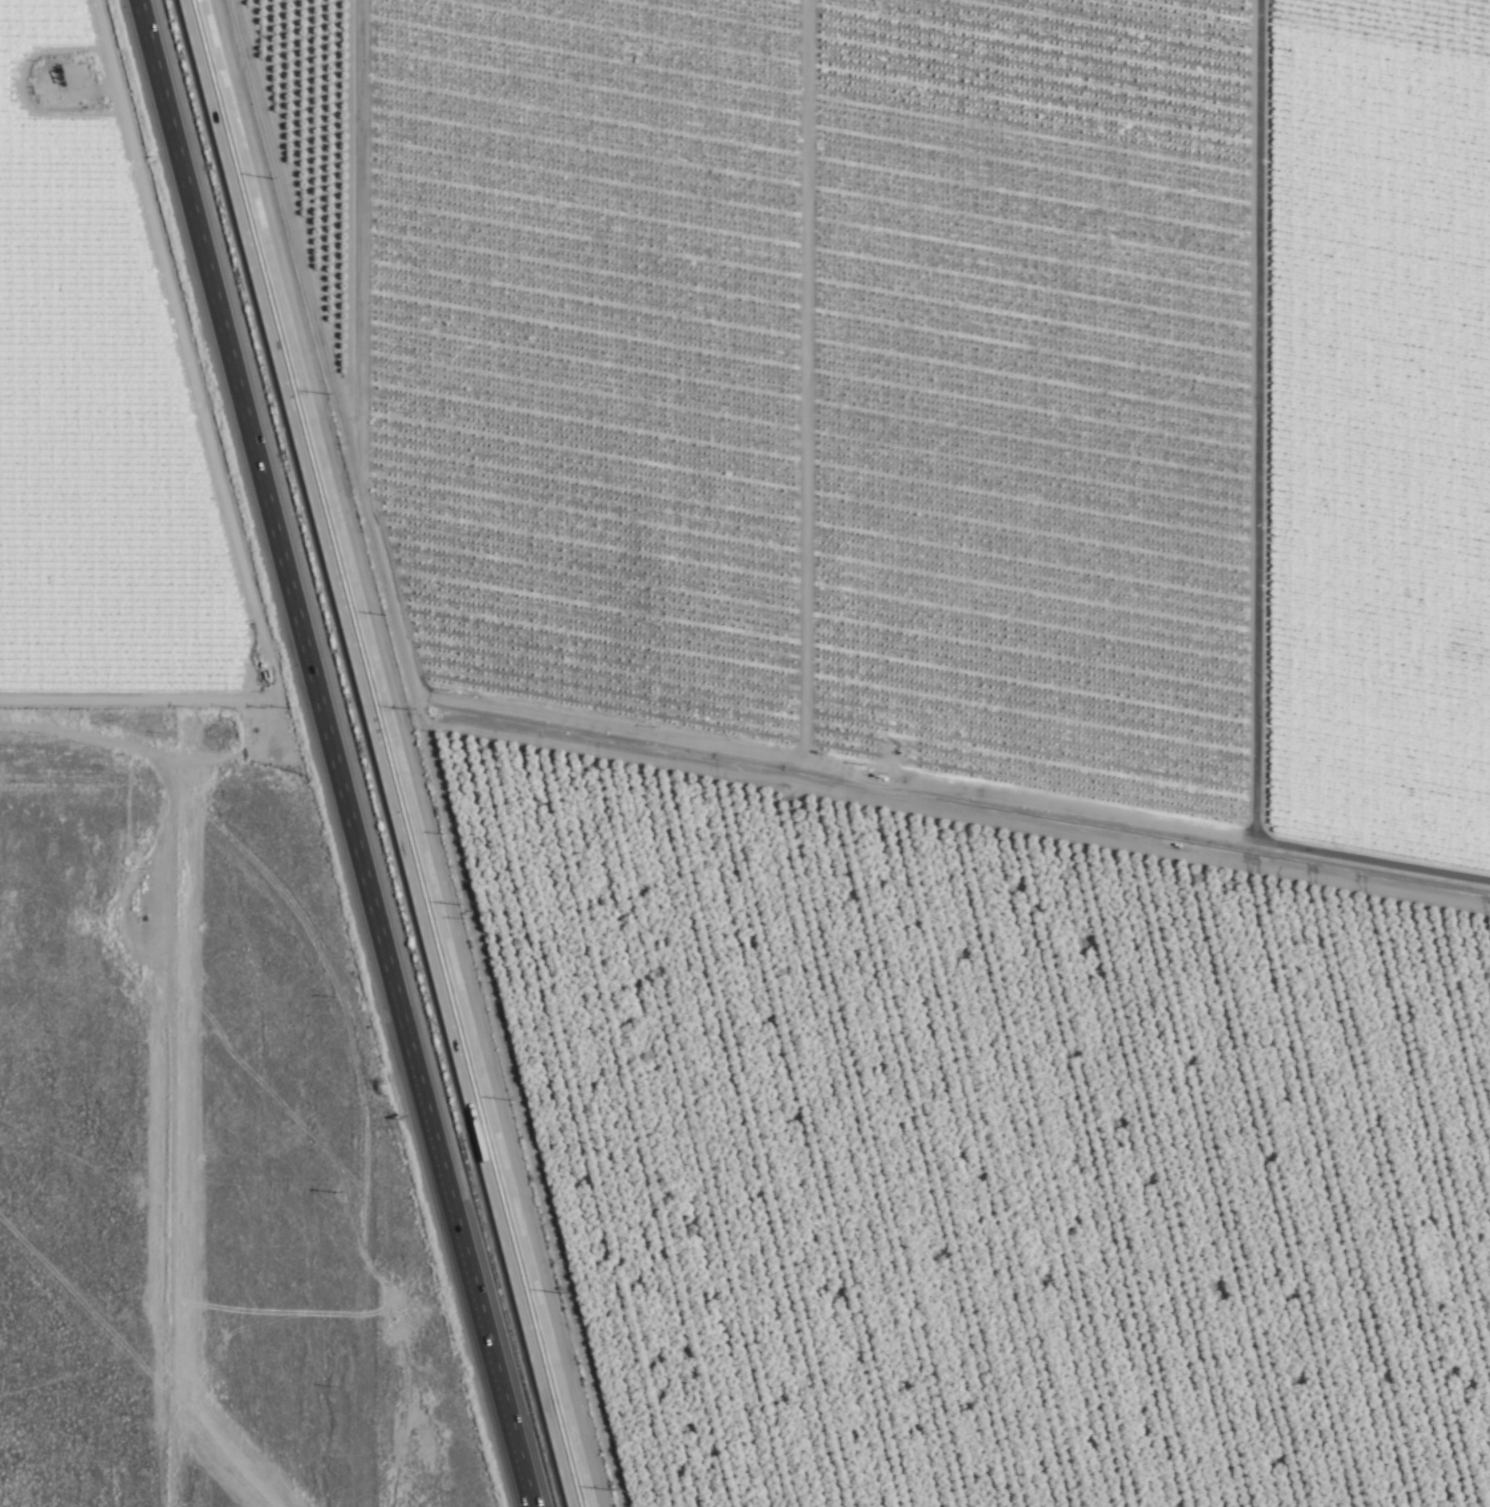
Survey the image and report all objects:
road: (966, 69)
road: (331, 95)
road: (278, 547)
crop: (934, 710)
road: (214, 749)
road: (386, 753)
road: (728, 755)
road: (144, 758)
wastewater plant: (516, 803)
road: (191, 1135)
road: (950, 1164)
road: (474, 1300)

